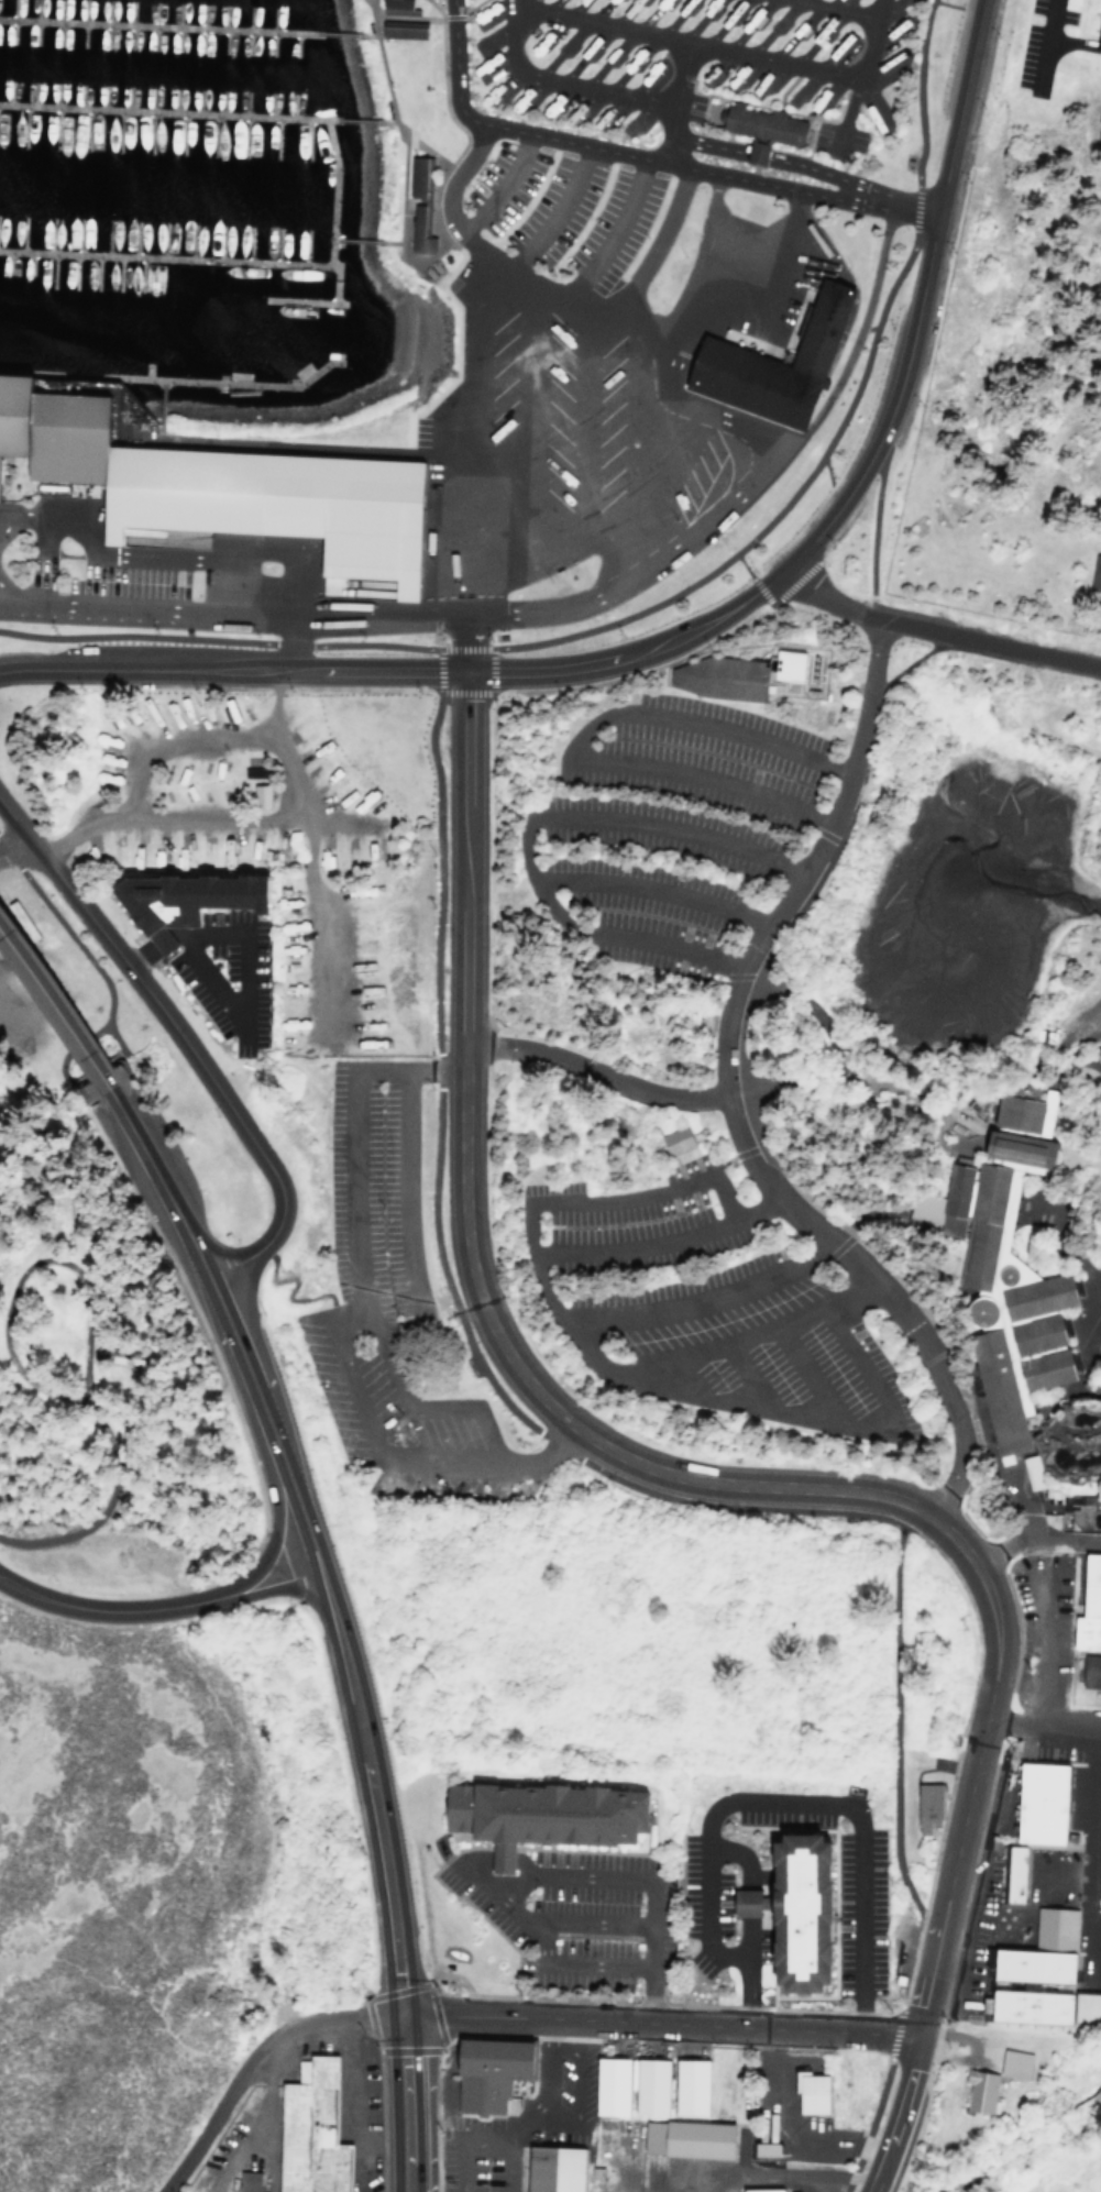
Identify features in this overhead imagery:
parking lot: (449, 5)
building: (393, 7)
road: (833, 8)
road: (594, 24)
pier: (156, 25)
building: (398, 29)
building: (1096, 33)
road: (342, 34)
road: (1089, 35)
road: (1041, 42)
parking lot: (1036, 47)
road: (778, 62)
road: (559, 80)
road: (387, 100)
pier: (161, 110)
road: (356, 120)
building: (757, 125)
road: (672, 135)
road: (706, 142)
building: (750, 152)
road: (639, 156)
road: (812, 168)
road: (500, 186)
building: (416, 201)
road: (554, 211)
road: (460, 229)
road: (608, 234)
road: (363, 241)
road: (398, 253)
pier: (236, 260)
road: (702, 262)
pier: (334, 278)
road: (773, 284)
road: (621, 299)
pier: (301, 301)
building: (824, 327)
pier: (144, 371)
road: (470, 376)
pier: (225, 381)
building: (753, 383)
parking lot: (550, 395)
road: (525, 397)
road: (157, 408)
building: (10, 410)
road: (584, 420)
road: (662, 431)
building: (59, 436)
road: (306, 448)
building: (173, 492)
building: (285, 495)
road: (542, 508)
road: (44, 518)
road: (5, 520)
building: (366, 521)
building: (1096, 572)
road: (672, 595)
road: (5, 598)
road: (537, 609)
road: (702, 625)
road: (936, 631)
road: (290, 643)
building: (784, 665)
road: (583, 734)
road: (296, 787)
building: (255, 794)
road: (197, 809)
road: (12, 820)
road: (526, 827)
parking lot: (668, 830)
road: (12, 845)
road: (32, 846)
parking lot: (693, 850)
road: (651, 889)
building: (177, 899)
road: (65, 928)
road: (766, 961)
road: (58, 992)
road: (56, 1007)
road: (158, 1007)
road: (240, 1011)
road: (49, 1017)
road: (807, 1022)
road: (99, 1028)
road: (78, 1042)
road: (112, 1053)
road: (1067, 1058)
road: (92, 1065)
road: (59, 1066)
road: (594, 1069)
road: (122, 1076)
road: (73, 1078)
road: (866, 1079)
road: (89, 1095)
road: (725, 1097)
road: (949, 1125)
road: (38, 1128)
building: (671, 1141)
road: (969, 1142)
road: (170, 1145)
road: (616, 1199)
road: (1030, 1209)
road: (405, 1216)
road: (1034, 1221)
road: (1057, 1235)
road: (272, 1236)
road: (466, 1255)
road: (29, 1268)
building: (1012, 1270)
road: (1088, 1287)
road: (911, 1291)
parking lot: (703, 1298)
road: (1092, 1301)
parking lot: (388, 1302)
road: (701, 1303)
road: (343, 1315)
road: (1080, 1321)
road: (224, 1323)
road: (725, 1347)
road: (1085, 1356)
road: (1088, 1367)
road: (810, 1374)
road: (751, 1377)
road: (651, 1381)
road: (419, 1407)
road: (243, 1433)
building: (1030, 1472)
road: (119, 1508)
road: (102, 1513)
road: (1033, 1533)
road: (954, 1539)
road: (295, 1572)
building: (1087, 1604)
road: (136, 1609)
road: (329, 1610)
road: (1049, 1631)
building: (1089, 1672)
road: (1043, 1729)
road: (967, 1798)
road: (802, 1800)
building: (1036, 1804)
building: (923, 1807)
building: (549, 1815)
road: (1094, 1858)
building: (1011, 1874)
road: (546, 1875)
road: (480, 1877)
building: (802, 1909)
road: (390, 1921)
road: (586, 1921)
road: (744, 1923)
building: (1037, 1951)
road: (659, 2023)
road: (251, 2055)
building: (1011, 2064)
building: (482, 2072)
road: (426, 2083)
building: (605, 2086)
building: (646, 2086)
building: (689, 2086)
building: (978, 2092)
building: (807, 2095)
road: (352, 2103)
road: (766, 2104)
road: (272, 2113)
road: (900, 2115)
road: (518, 2125)
building: (308, 2129)
building: (686, 2138)
building: (759, 2148)
road: (233, 2150)
road: (506, 2168)
building: (548, 2168)
road: (775, 2171)
road: (895, 2171)
building: (244, 2182)
building: (760, 2190)

